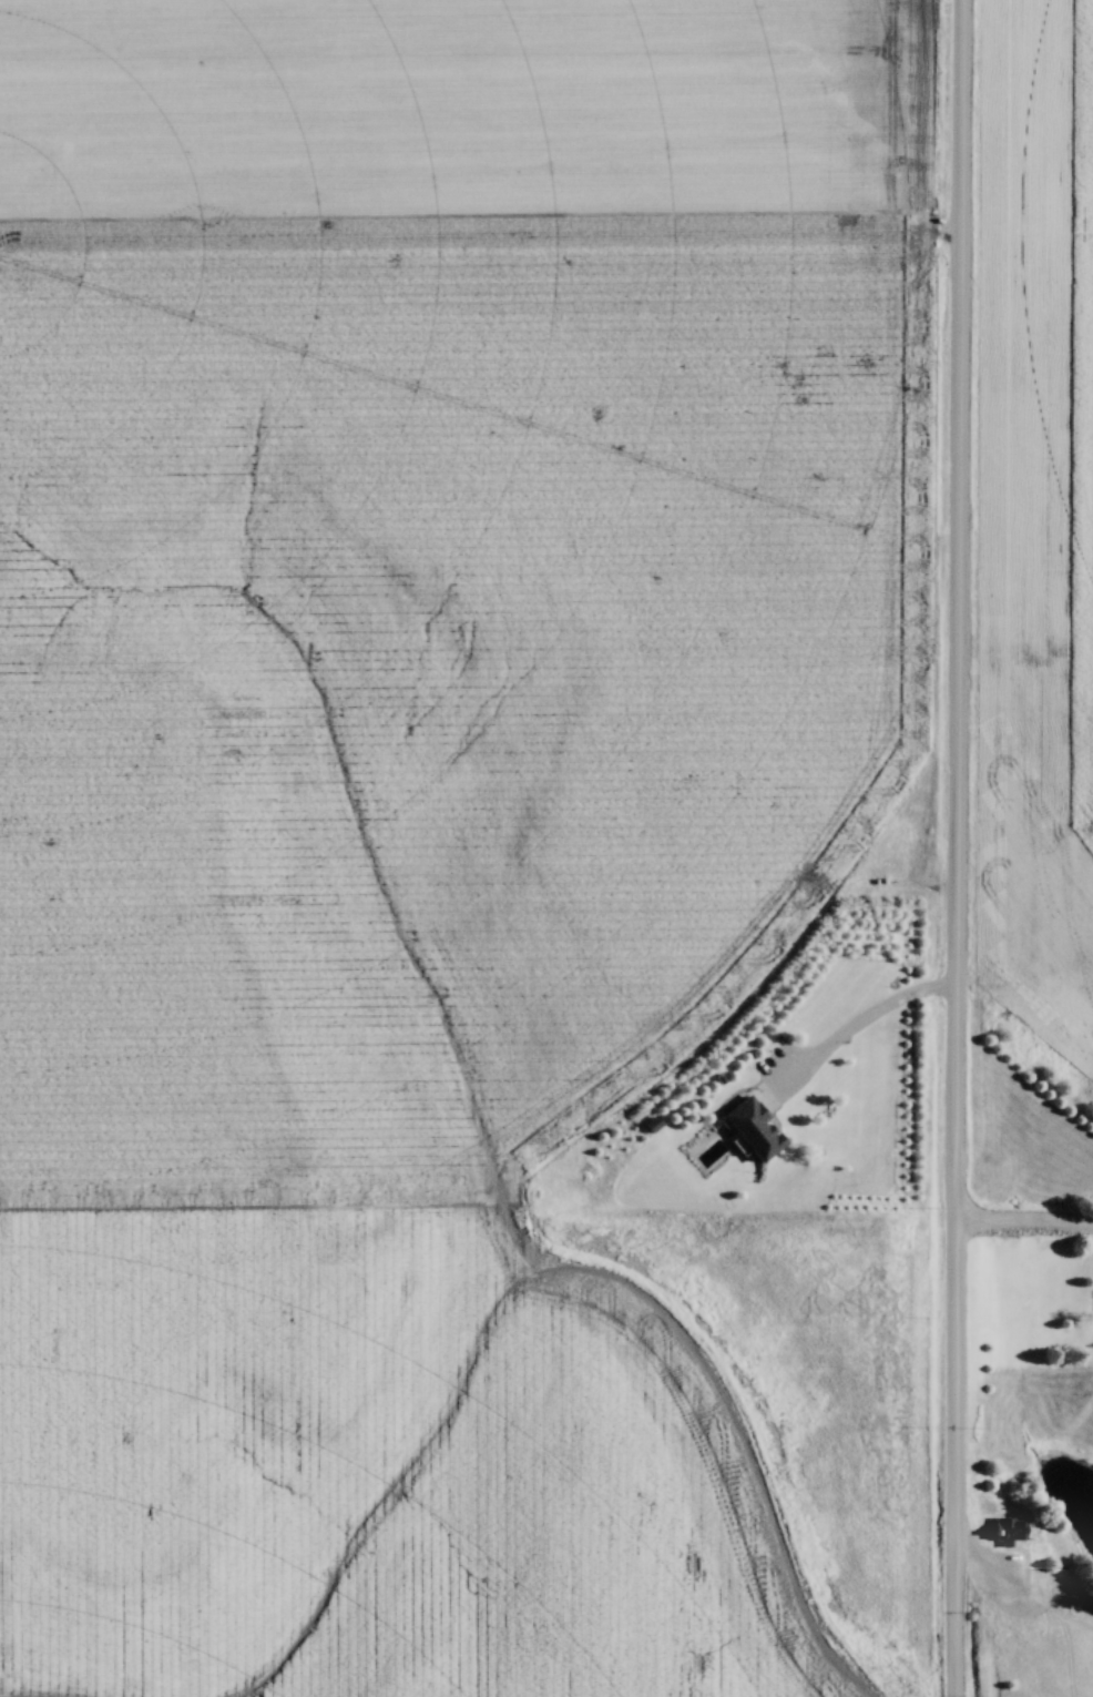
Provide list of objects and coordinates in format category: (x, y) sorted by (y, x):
road: (959, 848)
road: (1025, 1222)
building: (1012, 1531)

